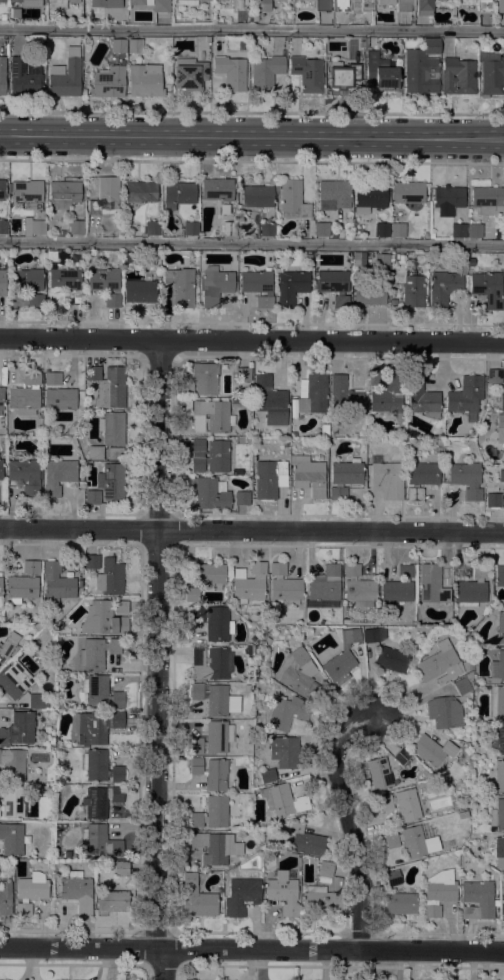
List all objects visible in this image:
building: (2, 0)
building: (288, 0)
building: (304, 0)
building: (73, 1)
building: (28, 2)
building: (140, 2)
building: (187, 2)
building: (387, 2)
building: (104, 3)
building: (59, 4)
building: (241, 5)
building: (263, 5)
building: (322, 5)
building: (403, 5)
building: (161, 6)
building: (343, 6)
building: (424, 6)
building: (485, 6)
building: (500, 7)
building: (14, 14)
road: (252, 29)
building: (365, 42)
building: (361, 44)
building: (118, 46)
building: (135, 46)
building: (421, 68)
building: (230, 73)
building: (266, 73)
building: (307, 73)
building: (2, 74)
building: (189, 74)
building: (65, 75)
building: (343, 75)
building: (382, 76)
building: (457, 76)
building: (24, 77)
building: (491, 77)
building: (144, 80)
building: (107, 82)
road: (252, 112)
road: (252, 136)
road: (252, 161)
building: (218, 189)
building: (2, 190)
building: (140, 192)
building: (335, 192)
building: (408, 193)
building: (27, 194)
building: (64, 194)
building: (177, 194)
building: (257, 196)
building: (105, 197)
building: (370, 197)
building: (447, 199)
building: (292, 200)
building: (488, 200)
building: (224, 209)
building: (39, 214)
building: (3, 226)
building: (33, 227)
building: (152, 227)
building: (76, 228)
building: (190, 228)
building: (229, 229)
building: (267, 229)
building: (321, 229)
building: (381, 230)
building: (398, 230)
building: (458, 231)
building: (474, 231)
building: (499, 234)
building: (334, 235)
building: (431, 236)
road: (252, 243)
building: (51, 257)
building: (307, 258)
building: (129, 259)
building: (382, 261)
building: (104, 280)
building: (2, 283)
building: (61, 284)
building: (29, 285)
building: (215, 285)
building: (445, 285)
building: (180, 286)
building: (258, 286)
building: (333, 286)
building: (408, 286)
building: (291, 287)
building: (488, 289)
building: (139, 291)
building: (369, 295)
building: (112, 300)
road: (81, 338)
road: (333, 341)
building: (242, 374)
building: (493, 376)
building: (204, 378)
building: (108, 386)
building: (58, 393)
building: (25, 395)
building: (312, 396)
building: (344, 396)
building: (421, 397)
building: (466, 397)
building: (1, 398)
building: (387, 398)
building: (502, 398)
building: (270, 400)
building: (212, 416)
building: (500, 429)
building: (113, 434)
building: (293, 434)
building: (94, 453)
building: (210, 455)
building: (1, 469)
building: (486, 469)
building: (232, 471)
building: (308, 475)
building: (25, 476)
building: (57, 476)
building: (501, 476)
building: (269, 478)
building: (344, 478)
building: (386, 479)
building: (421, 479)
building: (466, 479)
building: (111, 481)
building: (487, 484)
building: (210, 495)
building: (92, 497)
building: (242, 499)
building: (492, 500)
road: (252, 531)
building: (91, 562)
building: (209, 574)
building: (499, 576)
building: (110, 578)
building: (56, 583)
building: (22, 584)
building: (325, 584)
building: (284, 585)
building: (432, 585)
building: (250, 586)
building: (398, 586)
building: (1, 588)
building: (359, 588)
building: (471, 588)
building: (192, 594)
building: (105, 617)
building: (212, 622)
building: (501, 627)
building: (374, 635)
building: (421, 635)
building: (8, 644)
building: (249, 648)
building: (97, 653)
building: (342, 656)
road: (159, 659)
building: (392, 660)
building: (211, 664)
building: (439, 664)
building: (466, 665)
building: (497, 668)
building: (295, 671)
building: (14, 680)
building: (463, 684)
building: (101, 692)
building: (212, 698)
building: (38, 701)
building: (497, 702)
building: (444, 712)
building: (286, 713)
building: (95, 727)
building: (18, 729)
building: (218, 736)
building: (500, 739)
building: (51, 741)
building: (194, 746)
building: (432, 750)
building: (284, 752)
building: (398, 753)
building: (13, 765)
building: (100, 767)
building: (211, 773)
building: (379, 774)
building: (267, 776)
building: (500, 776)
building: (43, 788)
building: (283, 800)
building: (99, 801)
building: (12, 802)
building: (402, 804)
building: (212, 813)
building: (462, 815)
road: (350, 816)
building: (497, 816)
building: (13, 840)
building: (306, 841)
building: (100, 842)
building: (411, 842)
building: (215, 847)
building: (496, 851)
building: (122, 868)
building: (325, 869)
building: (393, 878)
building: (32, 892)
building: (76, 892)
building: (282, 893)
building: (438, 893)
building: (241, 896)
building: (5, 898)
building: (197, 899)
building: (112, 900)
building: (477, 900)
building: (321, 901)
building: (400, 903)
building: (503, 906)
road: (252, 949)

